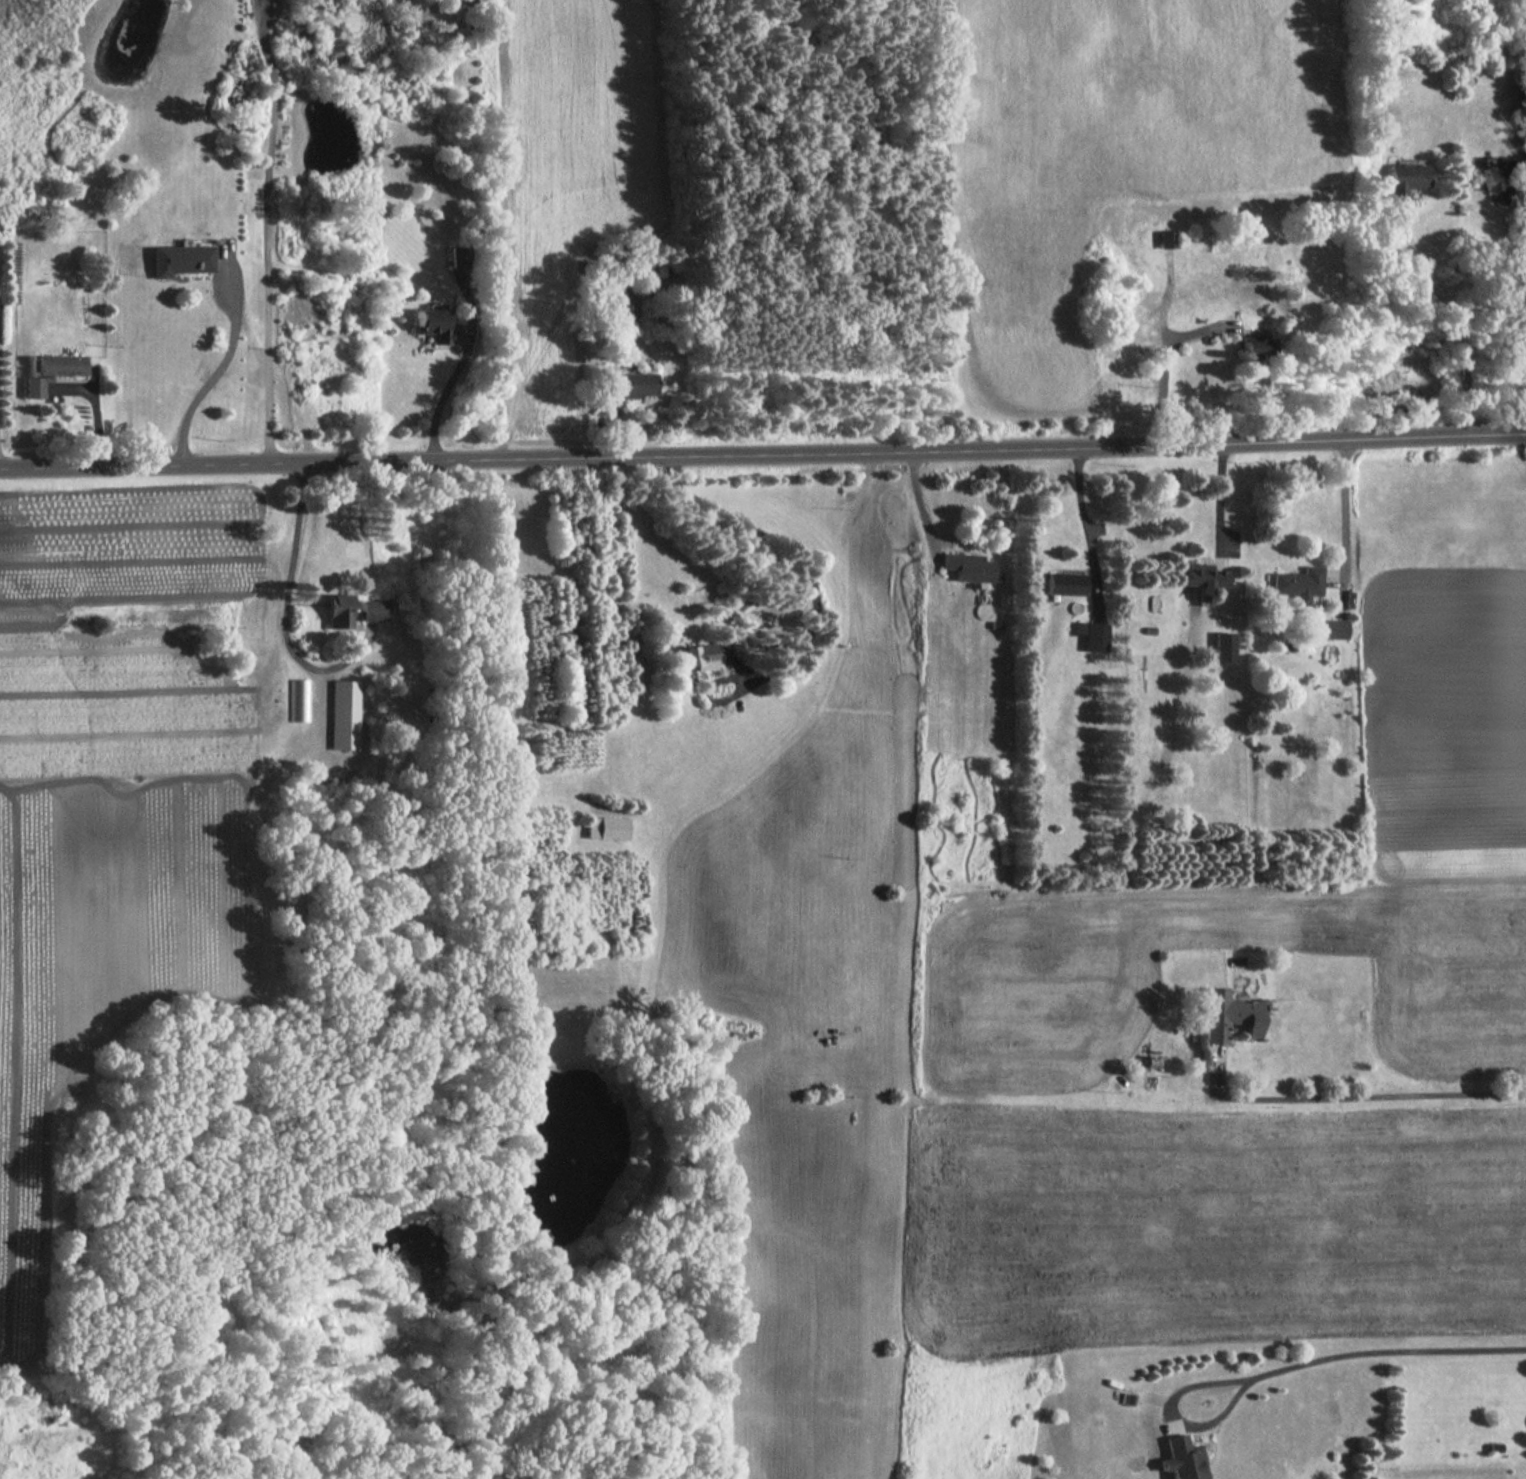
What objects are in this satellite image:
building: (1504, 178)
building: (1405, 179)
road: (266, 229)
road: (1522, 230)
building: (1167, 239)
building: (181, 260)
building: (461, 263)
road: (1495, 322)
building: (432, 325)
road: (1450, 325)
building: (1255, 347)
road: (1164, 364)
building: (54, 371)
road: (215, 373)
building: (630, 385)
road: (444, 394)
road: (763, 452)
road: (1219, 494)
road: (916, 496)
road: (1345, 509)
road: (1083, 515)
road: (789, 550)
building: (967, 566)
building: (1202, 577)
building: (1065, 583)
building: (1298, 584)
building: (374, 610)
building: (340, 611)
building: (1331, 629)
building: (1091, 635)
building: (1222, 646)
building: (697, 656)
building: (299, 700)
building: (345, 714)
building: (606, 828)
road: (261, 899)
building: (1228, 1015)
road: (1376, 1096)
road: (1364, 1351)
building: (1182, 1459)

